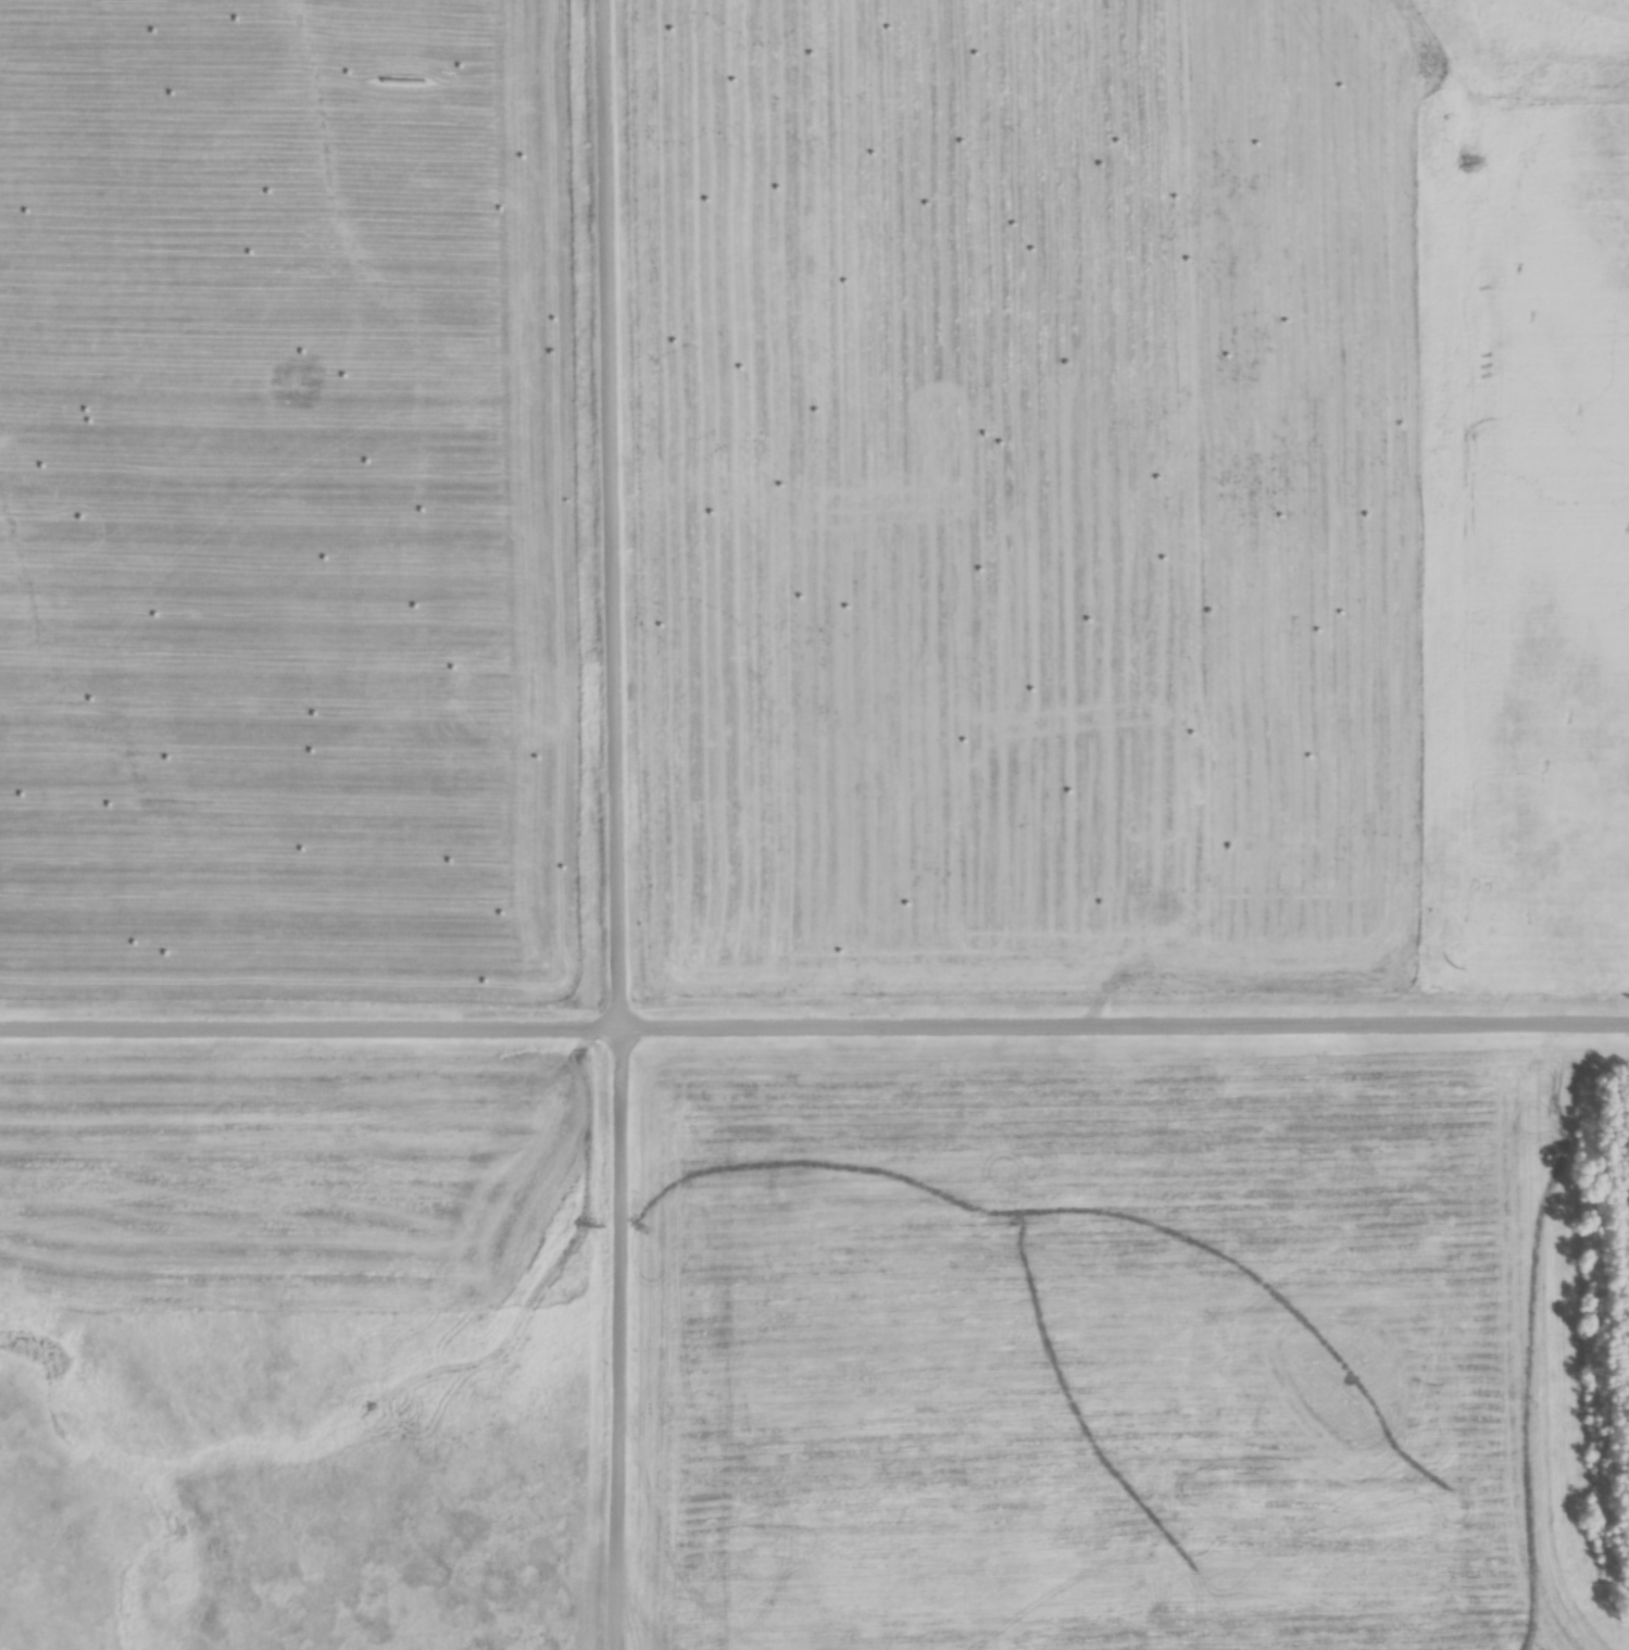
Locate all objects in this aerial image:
road: (619, 824)
road: (814, 1029)
building: (477, 1148)

